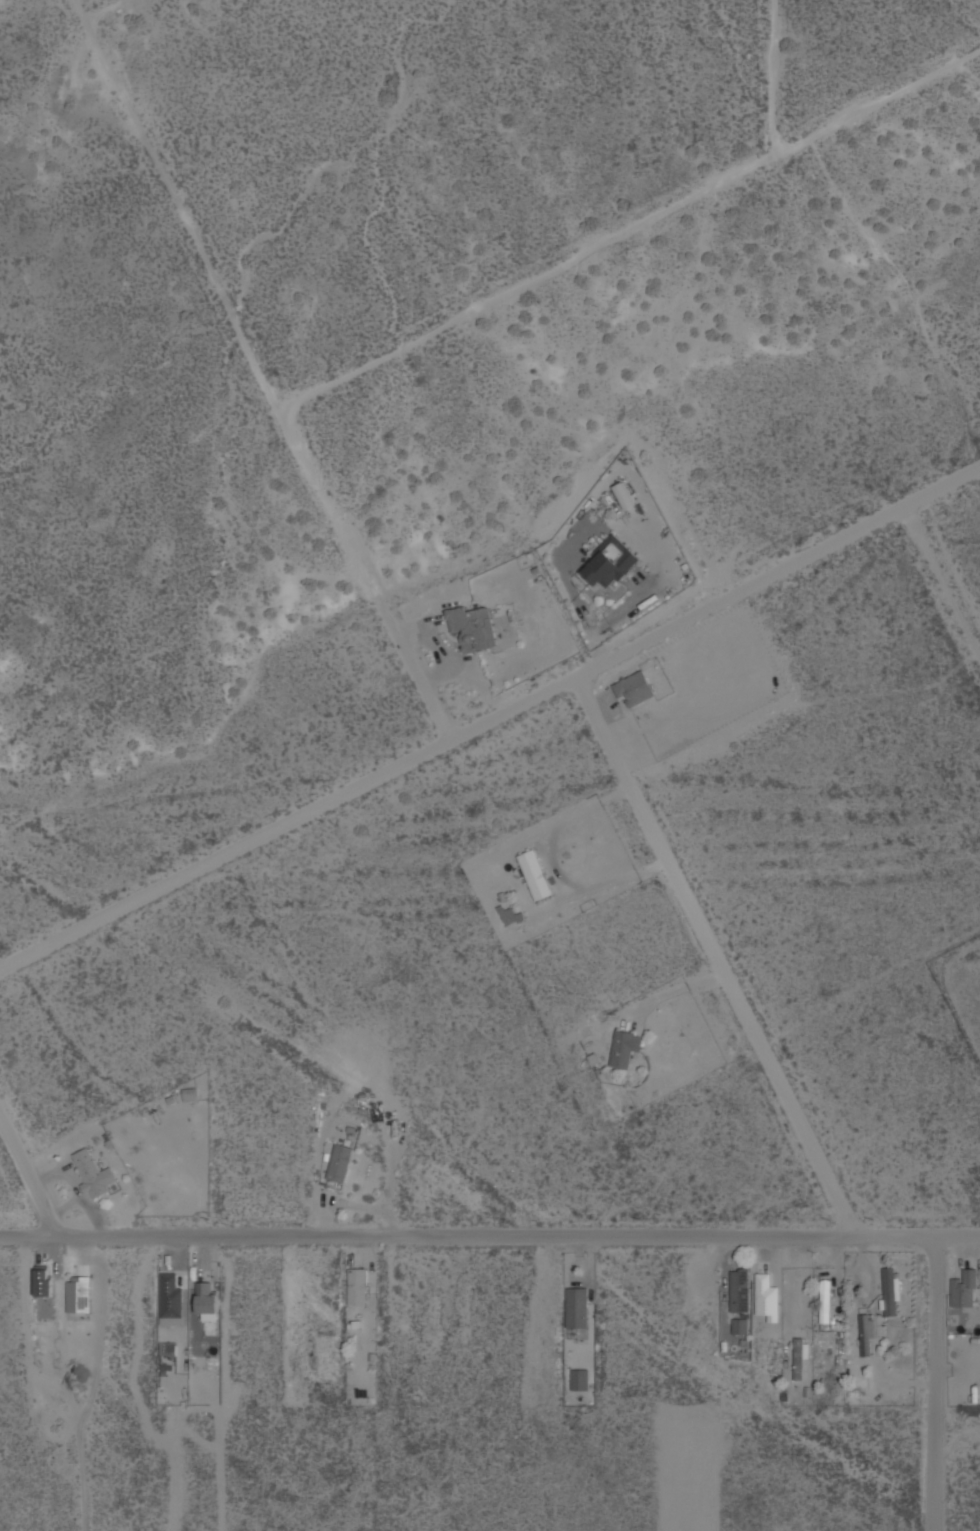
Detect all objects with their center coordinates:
road: (812, 135)
building: (623, 495)
building: (609, 562)
road: (942, 581)
building: (473, 626)
building: (634, 688)
road: (491, 721)
building: (534, 873)
building: (511, 915)
road: (714, 957)
building: (624, 1047)
building: (189, 1094)
building: (340, 1162)
building: (92, 1173)
road: (24, 1182)
road: (490, 1235)
building: (43, 1281)
building: (357, 1285)
building: (965, 1287)
building: (740, 1288)
building: (890, 1291)
building: (78, 1294)
building: (170, 1295)
building: (766, 1296)
building: (206, 1297)
building: (825, 1299)
building: (576, 1307)
building: (740, 1324)
building: (866, 1334)
building: (169, 1347)
building: (799, 1358)
building: (579, 1378)
road: (933, 1383)

